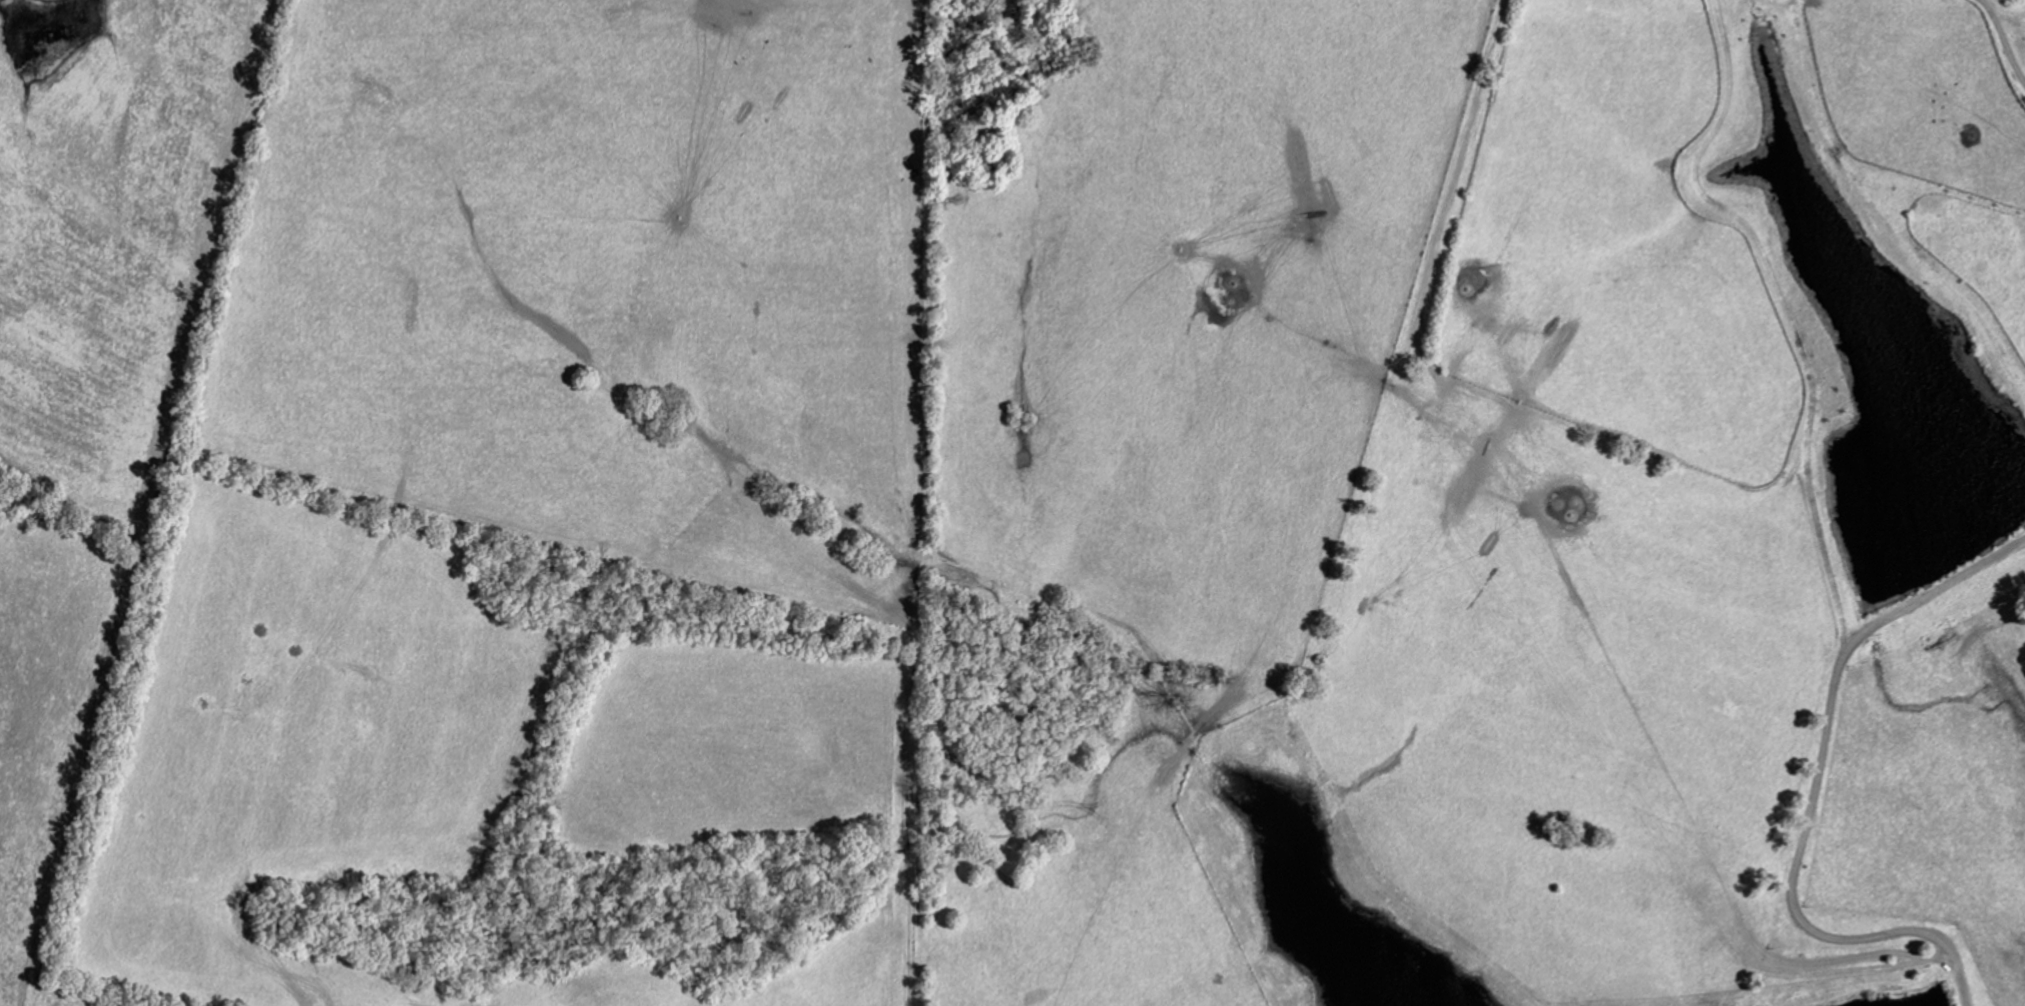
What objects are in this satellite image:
road: (29, 952)

